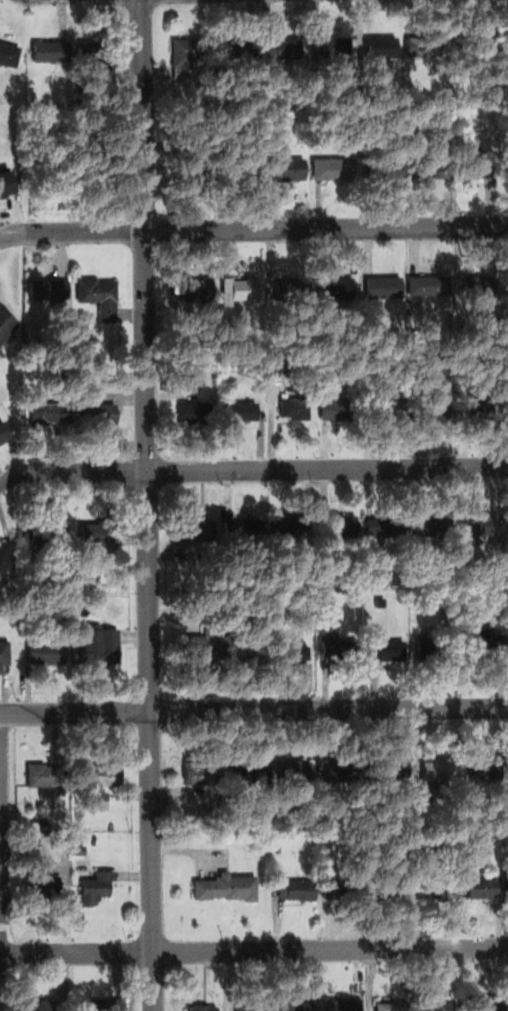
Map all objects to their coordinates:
building: (507, 43)
building: (426, 45)
building: (469, 45)
building: (335, 47)
building: (381, 48)
building: (52, 49)
building: (289, 50)
building: (8, 53)
building: (241, 53)
building: (98, 54)
building: (191, 57)
building: (477, 99)
building: (459, 112)
building: (199, 165)
building: (383, 166)
building: (480, 166)
building: (334, 167)
building: (244, 168)
building: (289, 168)
building: (435, 168)
building: (7, 182)
road: (253, 230)
building: (507, 279)
building: (193, 285)
building: (293, 286)
building: (337, 286)
building: (384, 286)
building: (431, 286)
building: (480, 286)
building: (242, 287)
building: (50, 288)
building: (99, 295)
building: (6, 323)
building: (484, 407)
building: (297, 409)
building: (241, 410)
building: (345, 410)
building: (389, 410)
building: (438, 410)
building: (49, 413)
building: (101, 413)
building: (191, 413)
building: (4, 432)
road: (251, 466)
road: (145, 505)
building: (473, 522)
building: (341, 524)
building: (431, 524)
building: (385, 525)
building: (292, 526)
building: (243, 527)
building: (99, 529)
building: (199, 529)
building: (51, 531)
building: (7, 555)
building: (396, 581)
building: (93, 597)
building: (380, 601)
building: (281, 624)
building: (488, 641)
building: (97, 643)
building: (252, 645)
building: (207, 646)
building: (436, 647)
building: (386, 648)
building: (294, 649)
building: (341, 649)
building: (46, 651)
building: (8, 654)
road: (254, 710)
building: (345, 766)
building: (396, 768)
building: (297, 770)
building: (442, 770)
building: (490, 770)
building: (250, 772)
building: (203, 774)
building: (100, 776)
building: (46, 778)
building: (211, 813)
building: (278, 848)
building: (78, 850)
park: (6, 864)
building: (96, 886)
building: (228, 886)
building: (296, 887)
building: (343, 888)
building: (481, 888)
building: (440, 889)
building: (392, 891)
building: (43, 892)
road: (253, 948)
building: (100, 1004)
building: (345, 1004)
building: (36, 1005)
building: (393, 1005)
building: (298, 1006)
building: (437, 1006)
building: (484, 1006)
building: (251, 1007)
building: (202, 1008)

